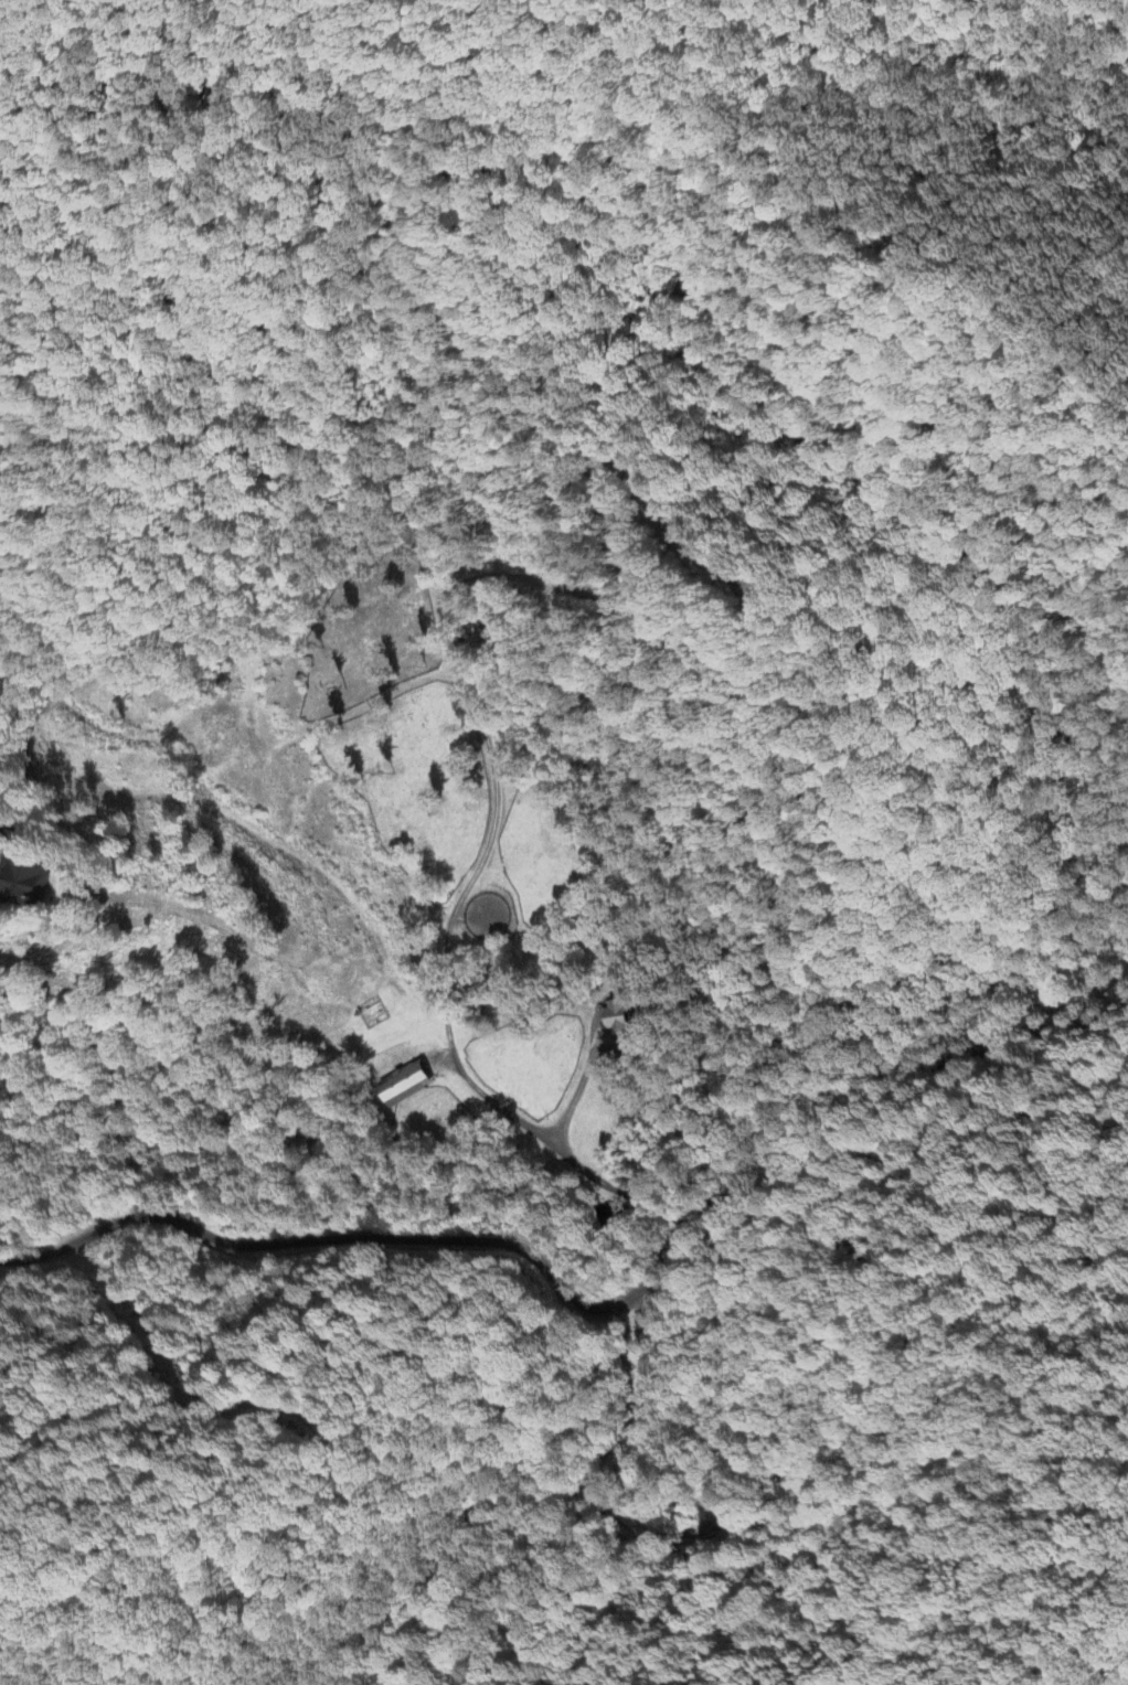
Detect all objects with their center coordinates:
building: (2, 825)
building: (28, 884)
road: (447, 995)
building: (626, 1027)
building: (411, 1085)
road: (577, 1091)
road: (587, 1312)

